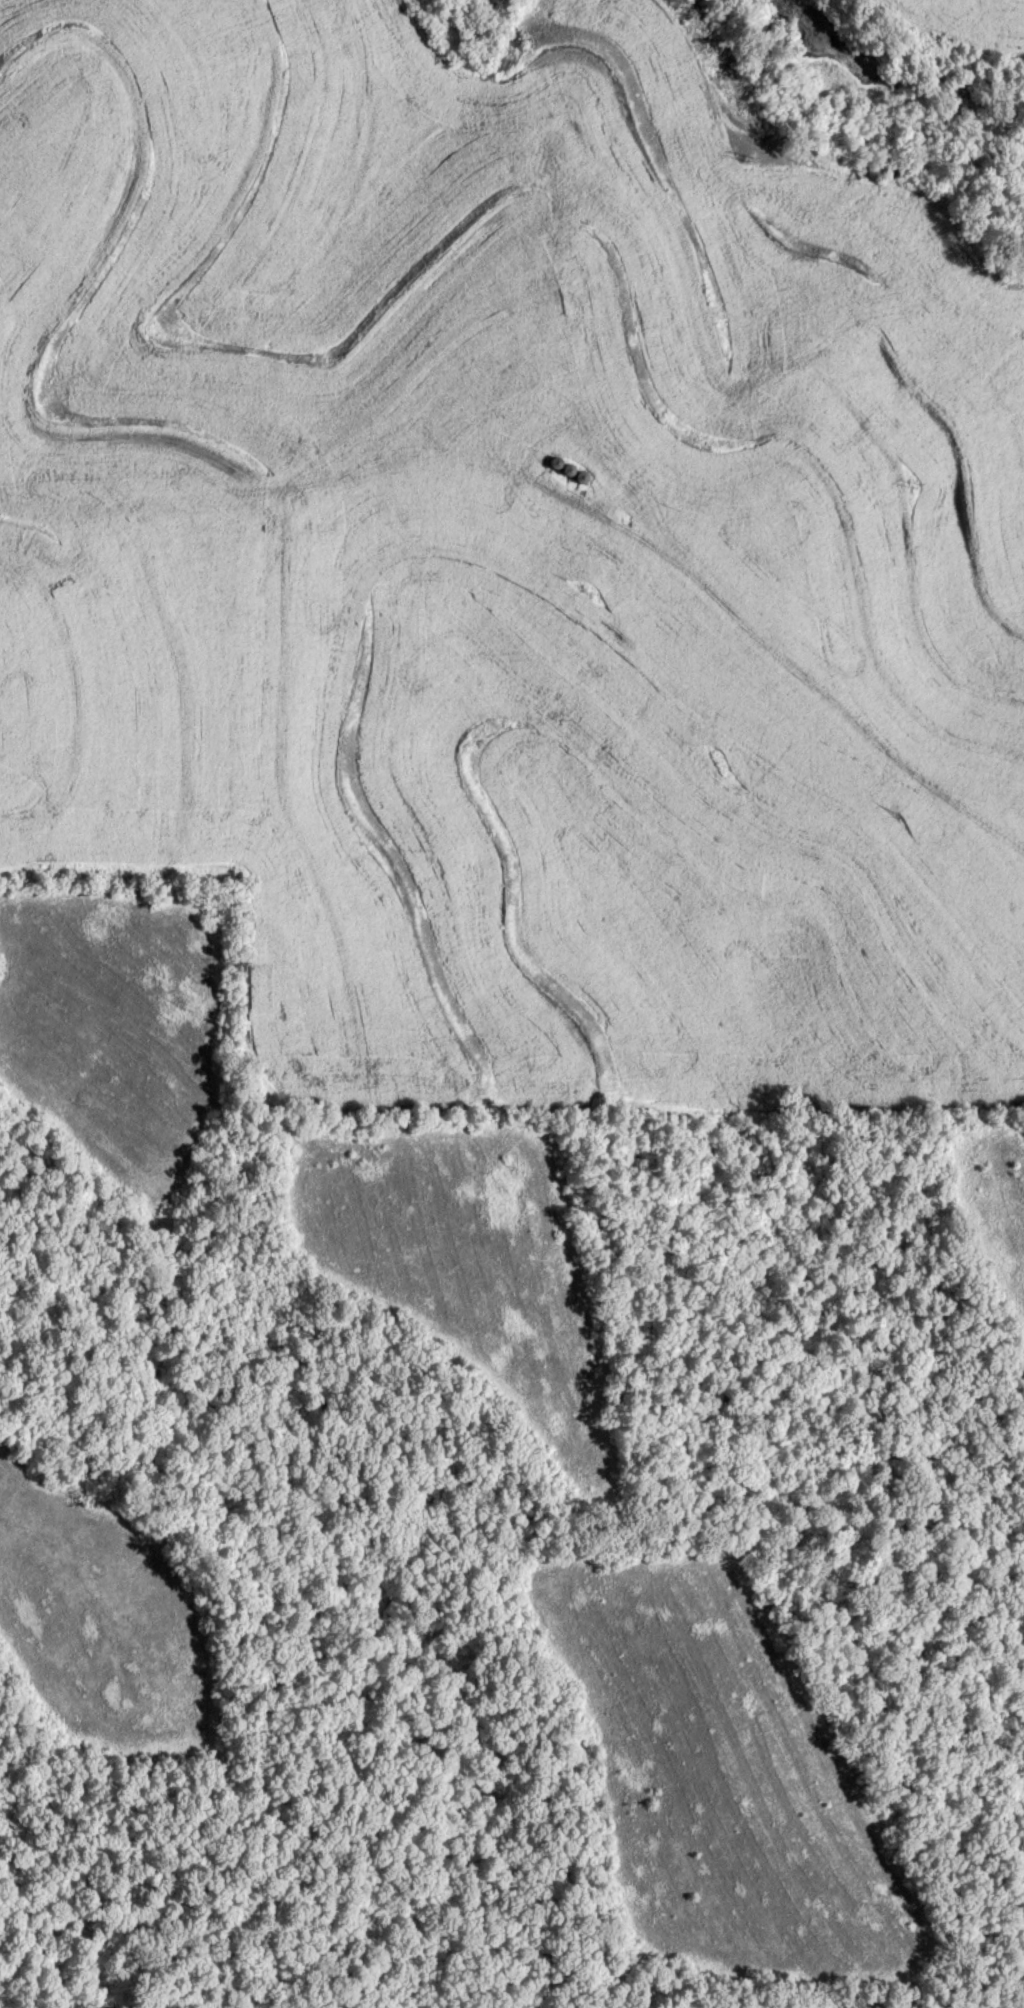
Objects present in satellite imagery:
power tower: (746, 149)
power tower: (912, 479)

